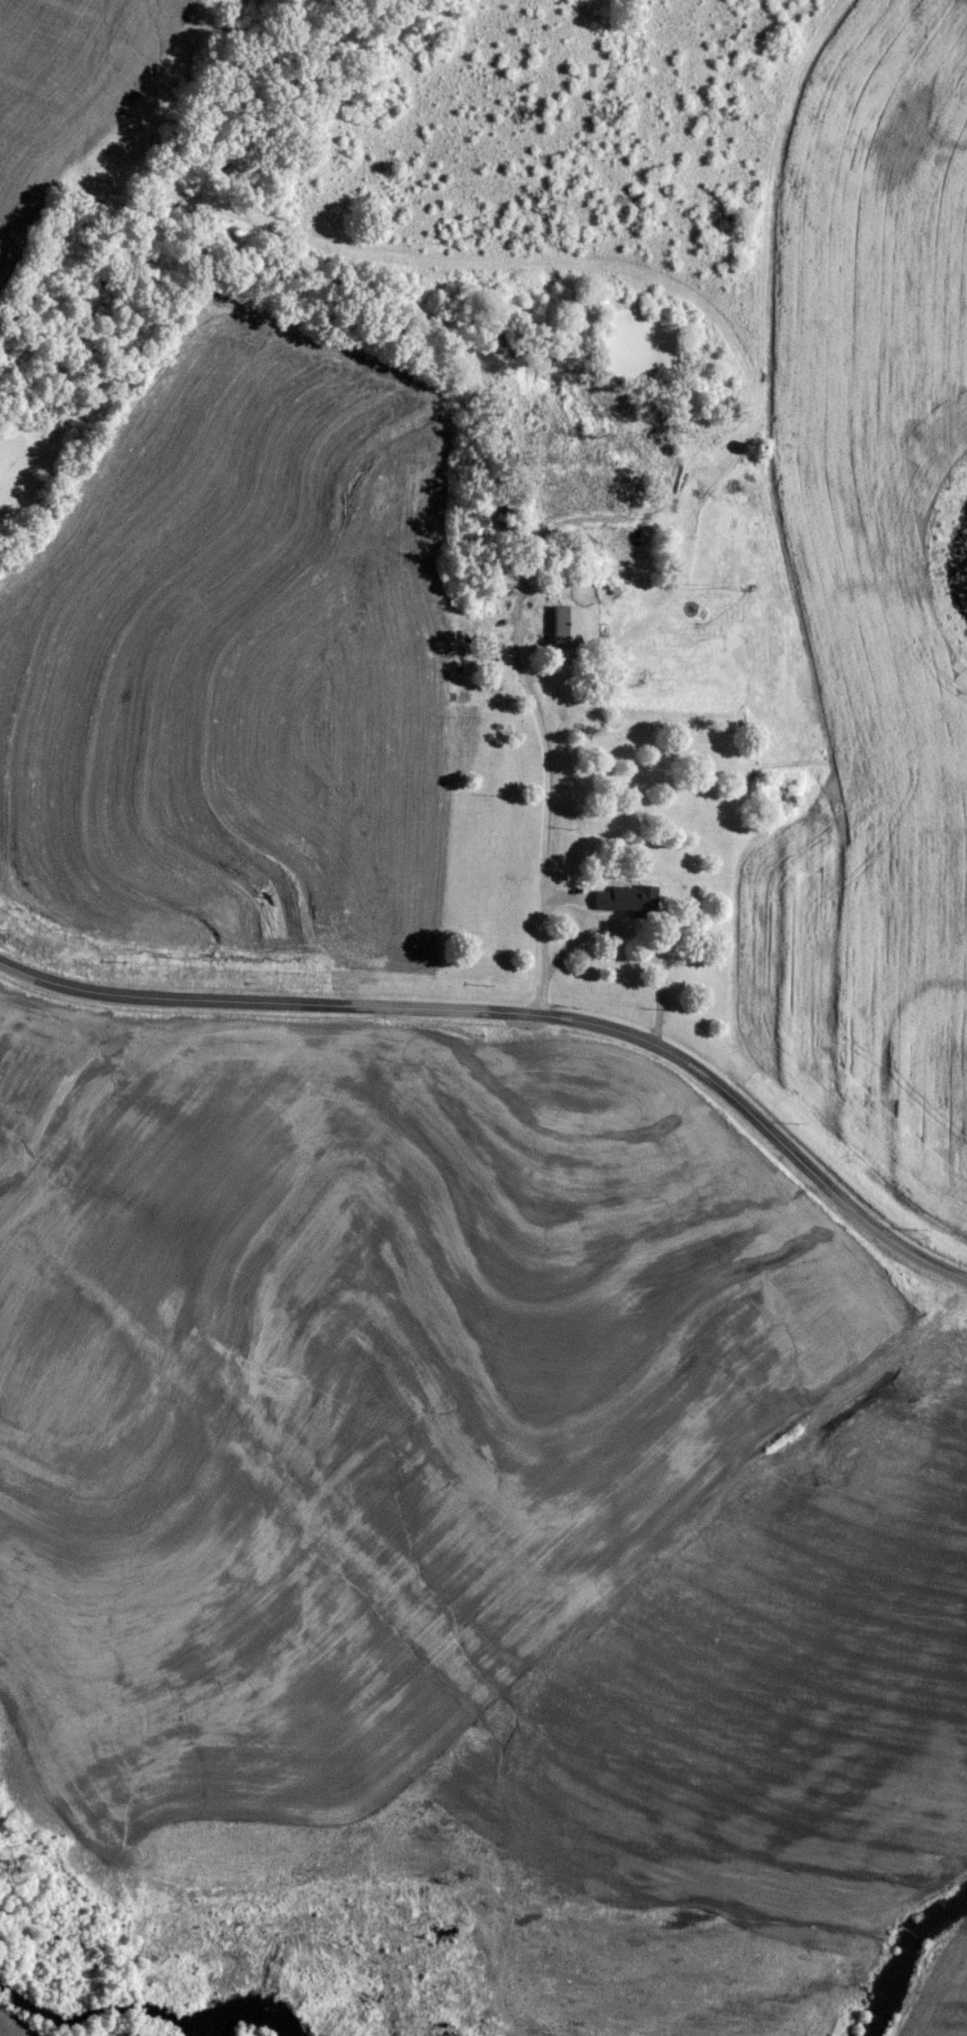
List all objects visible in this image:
building: (468, 516)
building: (503, 578)
building: (562, 625)
road: (522, 676)
building: (626, 899)
road: (520, 1016)

